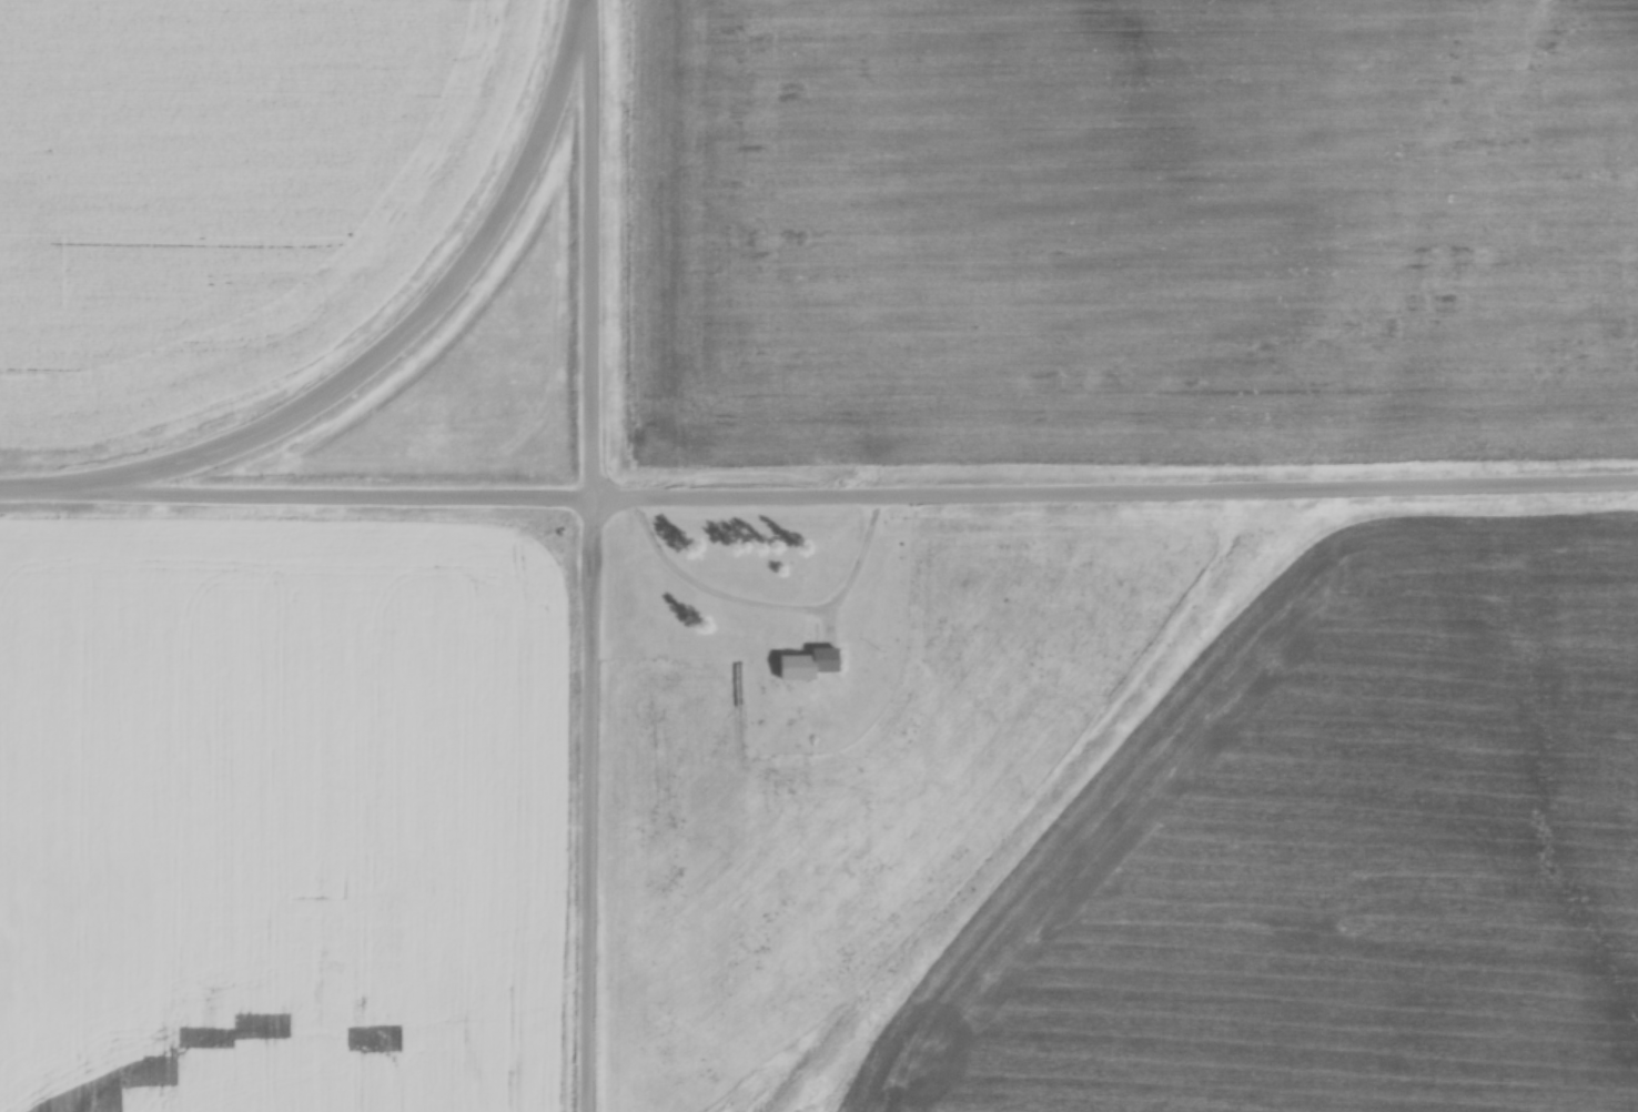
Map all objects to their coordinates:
road: (594, 79)
road: (819, 505)
road: (596, 635)
building: (805, 665)
building: (852, 668)

